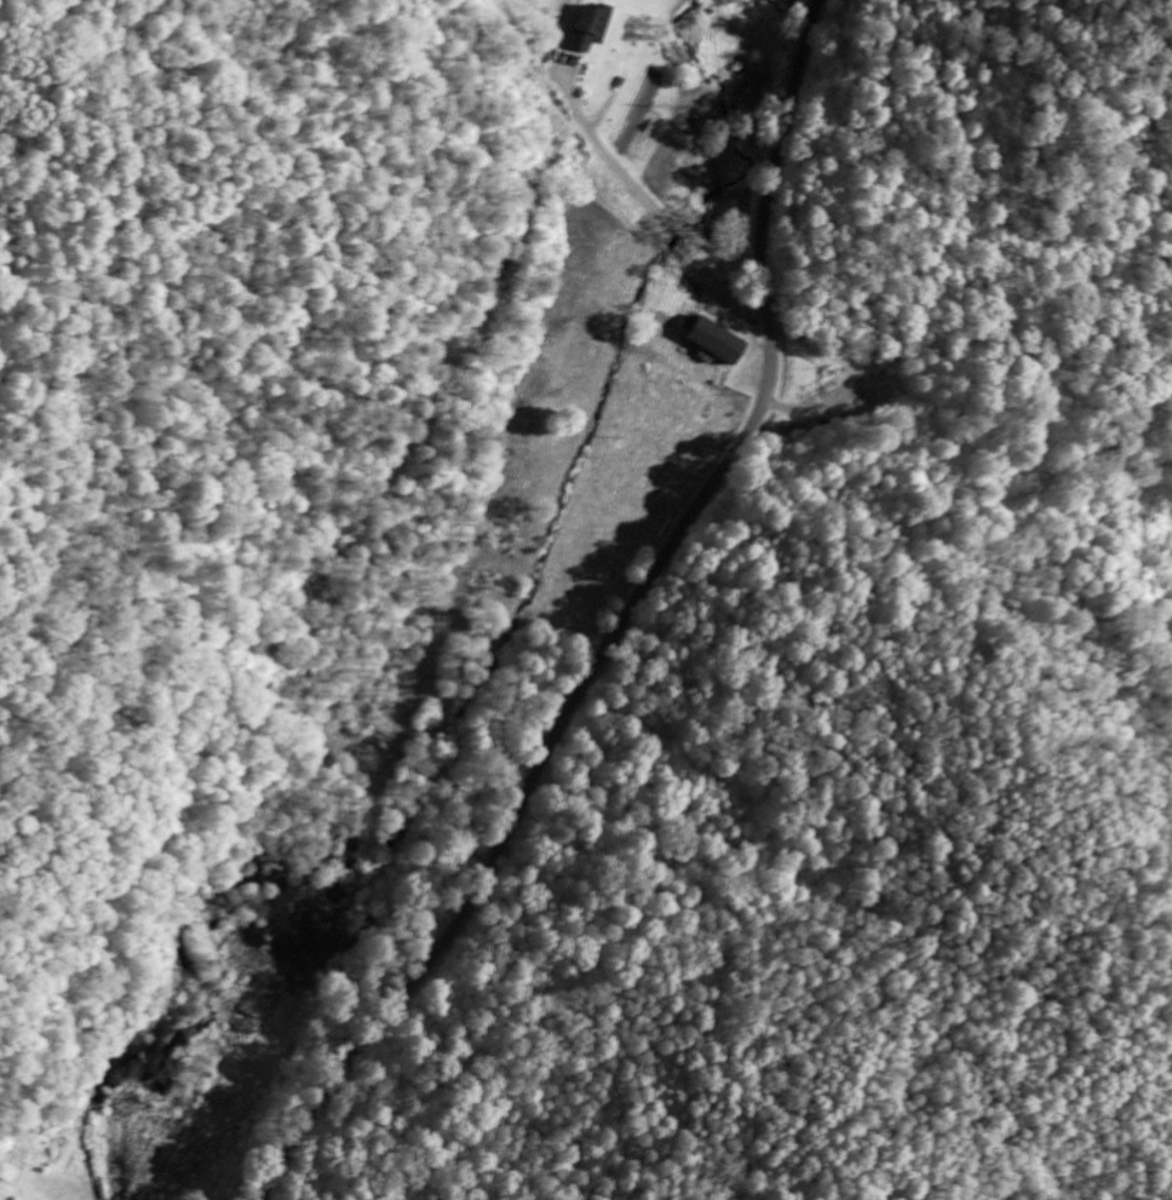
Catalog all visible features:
building: (582, 30)
building: (714, 343)
road: (620, 626)

